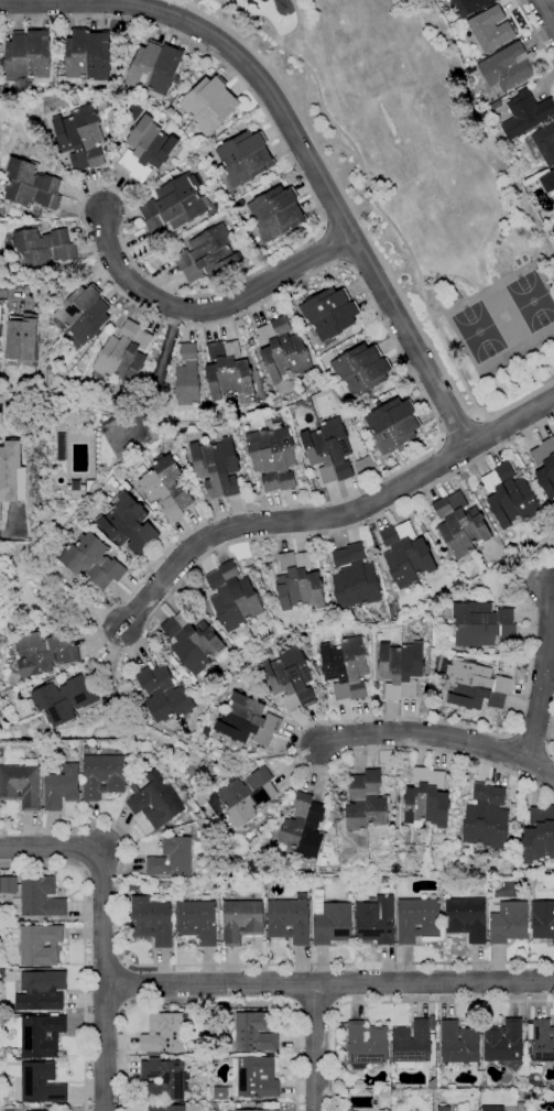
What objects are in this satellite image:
road: (191, 4)
building: (469, 6)
road: (222, 12)
road: (546, 12)
road: (295, 24)
building: (490, 29)
road: (534, 33)
building: (88, 55)
building: (26, 56)
building: (155, 67)
building: (507, 67)
building: (472, 68)
building: (84, 88)
road: (306, 98)
building: (209, 104)
building: (528, 111)
building: (82, 137)
road: (294, 138)
road: (334, 141)
building: (542, 143)
building: (148, 148)
building: (246, 157)
park: (417, 179)
building: (547, 182)
building: (31, 184)
road: (367, 190)
building: (175, 204)
building: (275, 213)
road: (339, 225)
road: (362, 229)
building: (43, 247)
building: (208, 254)
road: (343, 262)
road: (358, 276)
road: (10, 292)
park: (532, 301)
road: (207, 307)
building: (329, 313)
building: (84, 314)
park: (478, 331)
building: (23, 337)
building: (284, 350)
building: (250, 352)
building: (123, 355)
road: (163, 362)
building: (361, 370)
building: (229, 371)
building: (188, 375)
building: (1, 413)
road: (509, 421)
road: (459, 424)
building: (391, 426)
building: (221, 427)
road: (485, 433)
parking lot: (128, 434)
building: (63, 447)
building: (329, 449)
building: (274, 456)
road: (446, 458)
building: (545, 466)
building: (218, 467)
building: (9, 468)
building: (21, 483)
building: (169, 488)
building: (78, 489)
building: (510, 495)
building: (0, 514)
road: (283, 521)
building: (130, 523)
building: (543, 523)
building: (461, 524)
road: (13, 525)
building: (408, 555)
building: (95, 560)
building: (268, 564)
building: (356, 578)
building: (301, 582)
building: (235, 597)
building: (482, 623)
building: (196, 642)
building: (46, 651)
building: (347, 667)
building: (402, 668)
road: (543, 672)
building: (291, 678)
building: (377, 686)
building: (326, 687)
building: (476, 687)
building: (166, 695)
building: (64, 699)
road: (358, 719)
building: (249, 720)
road: (550, 732)
road: (422, 733)
road: (531, 739)
building: (138, 750)
road: (175, 753)
road: (539, 765)
building: (102, 774)
building: (22, 784)
building: (59, 784)
building: (247, 796)
building: (427, 798)
building: (155, 799)
building: (367, 802)
building: (487, 817)
building: (304, 827)
building: (539, 836)
building: (172, 858)
building: (8, 884)
building: (350, 895)
building: (39, 897)
building: (467, 918)
building: (290, 919)
building: (417, 919)
building: (543, 919)
building: (151, 921)
building: (196, 921)
building: (241, 921)
building: (330, 921)
building: (376, 921)
building: (509, 922)
road: (102, 928)
building: (40, 945)
road: (84, 949)
road: (207, 965)
road: (329, 983)
road: (127, 984)
building: (41, 990)
road: (393, 1001)
road: (210, 1003)
road: (316, 1006)
building: (181, 1010)
building: (200, 1016)
building: (437, 1028)
building: (254, 1032)
building: (163, 1033)
building: (39, 1035)
building: (436, 1041)
building: (542, 1041)
building: (367, 1043)
building: (458, 1043)
building: (504, 1043)
building: (411, 1044)
road: (314, 1047)
building: (24, 1059)
building: (256, 1077)
building: (163, 1079)
building: (532, 1081)
building: (41, 1082)
building: (432, 1083)
building: (219, 1092)
building: (1, 1093)
building: (529, 1094)
building: (398, 1098)
building: (35, 1104)
building: (166, 1108)
building: (444, 1108)
building: (492, 1109)
building: (58, 1110)
building: (257, 1110)

